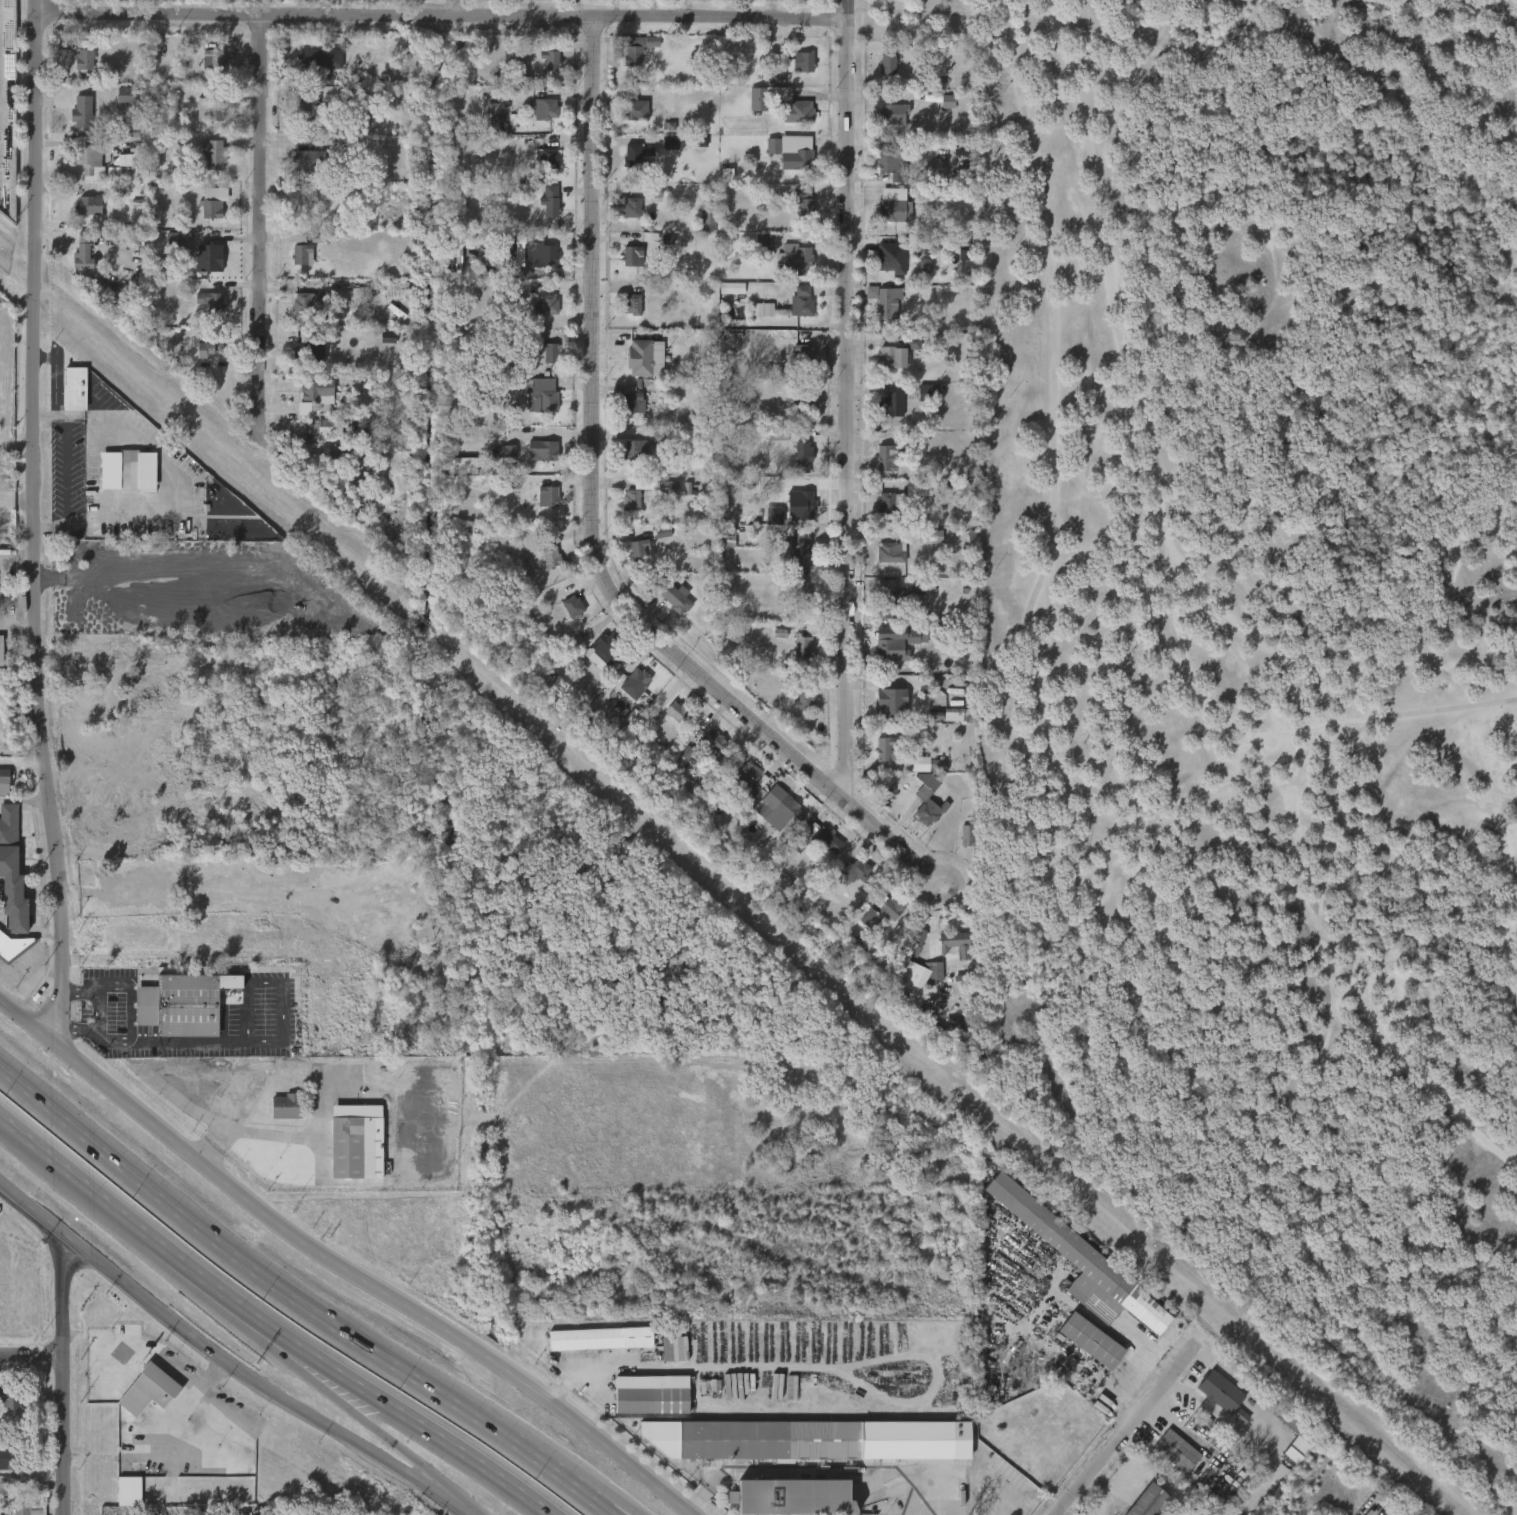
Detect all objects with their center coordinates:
road: (36, 6)
road: (317, 15)
road: (724, 19)
road: (914, 23)
building: (639, 49)
building: (550, 52)
building: (83, 55)
building: (213, 56)
building: (320, 58)
building: (630, 60)
building: (888, 60)
building: (795, 61)
building: (77, 71)
building: (312, 71)
building: (205, 72)
building: (543, 72)
building: (786, 74)
building: (879, 76)
building: (130, 95)
building: (305, 102)
building: (634, 106)
building: (797, 106)
building: (211, 107)
building: (543, 108)
building: (759, 108)
building: (81, 111)
building: (893, 113)
building: (940, 113)
building: (299, 118)
building: (627, 119)
building: (203, 121)
building: (538, 121)
building: (74, 123)
building: (789, 124)
building: (885, 125)
building: (213, 153)
building: (663, 154)
building: (791, 156)
building: (547, 157)
building: (638, 157)
building: (765, 158)
building: (89, 161)
building: (892, 162)
building: (312, 164)
building: (205, 166)
building: (628, 166)
building: (542, 168)
building: (119, 171)
building: (298, 171)
building: (83, 173)
building: (884, 176)
building: (550, 200)
building: (214, 202)
building: (804, 203)
building: (88, 205)
building: (632, 207)
building: (303, 209)
building: (895, 210)
building: (795, 211)
building: (543, 212)
building: (206, 214)
building: (81, 216)
building: (624, 219)
building: (708, 220)
road: (264, 226)
building: (699, 233)
building: (292, 249)
building: (82, 251)
building: (171, 251)
building: (301, 251)
building: (540, 252)
building: (755, 254)
building: (632, 256)
building: (206, 257)
building: (889, 257)
building: (795, 258)
building: (526, 264)
building: (75, 266)
building: (294, 266)
building: (621, 268)
building: (202, 269)
building: (787, 271)
building: (916, 278)
building: (396, 290)
building: (724, 299)
building: (304, 301)
building: (886, 301)
building: (213, 302)
building: (390, 302)
building: (802, 302)
building: (632, 304)
building: (546, 305)
building: (877, 312)
building: (204, 313)
building: (794, 313)
building: (625, 316)
building: (539, 317)
building: (754, 321)
building: (206, 345)
building: (307, 346)
building: (550, 352)
building: (899, 352)
building: (803, 355)
building: (640, 358)
building: (198, 361)
building: (301, 364)
building: (542, 364)
building: (795, 364)
building: (632, 369)
building: (884, 369)
road: (55, 376)
building: (74, 388)
building: (318, 389)
building: (539, 394)
road: (848, 396)
building: (632, 401)
building: (310, 402)
building: (920, 402)
road: (1051, 402)
building: (803, 403)
building: (891, 405)
road: (44, 414)
building: (625, 414)
building: (796, 416)
building: (883, 416)
road: (117, 424)
building: (325, 426)
building: (312, 438)
road: (15, 439)
building: (770, 446)
building: (639, 449)
building: (543, 450)
road: (597, 456)
building: (803, 457)
building: (888, 459)
building: (628, 461)
building: (500, 462)
building: (535, 462)
building: (795, 469)
building: (879, 469)
building: (128, 471)
building: (122, 481)
road: (65, 482)
building: (505, 496)
building: (548, 496)
building: (631, 500)
building: (912, 500)
building: (800, 501)
building: (890, 504)
building: (540, 507)
road: (15, 511)
building: (624, 511)
building: (792, 514)
building: (879, 514)
road: (31, 527)
building: (391, 531)
building: (727, 537)
building: (655, 543)
building: (905, 545)
building: (800, 547)
building: (640, 549)
building: (719, 549)
building: (87, 550)
road: (16, 555)
building: (551, 557)
building: (896, 557)
building: (630, 560)
building: (791, 560)
building: (77, 563)
building: (544, 569)
building: (164, 571)
building: (100, 587)
road: (1, 592)
building: (801, 595)
building: (676, 596)
building: (909, 599)
building: (793, 600)
building: (889, 601)
building: (573, 606)
building: (668, 610)
building: (565, 618)
road: (16, 628)
building: (772, 644)
building: (899, 644)
building: (603, 645)
building: (803, 647)
building: (1, 649)
park: (1267, 656)
building: (795, 658)
park: (1264, 659)
building: (594, 665)
building: (641, 678)
building: (546, 679)
building: (628, 694)
building: (804, 694)
building: (891, 698)
building: (796, 709)
building: (677, 710)
building: (884, 715)
building: (669, 723)
building: (948, 726)
building: (714, 740)
building: (883, 748)
building: (706, 752)
building: (877, 760)
building: (912, 774)
building: (4, 776)
building: (749, 778)
road: (1230, 788)
building: (742, 790)
building: (0, 793)
road: (25, 799)
building: (929, 802)
road: (1121, 802)
building: (790, 807)
building: (920, 814)
road: (1091, 819)
building: (771, 820)
road: (891, 838)
building: (829, 839)
building: (958, 847)
building: (816, 850)
building: (857, 870)
building: (10, 871)
building: (848, 881)
building: (78, 885)
railway: (728, 885)
building: (882, 910)
building: (955, 943)
building: (12, 948)
building: (945, 951)
building: (909, 954)
road: (30, 963)
road: (5, 974)
building: (907, 991)
building: (186, 1003)
road: (136, 1058)
building: (286, 1106)
building: (278, 1118)
road: (274, 1147)
building: (346, 1147)
road: (137, 1228)
building: (1078, 1260)
road: (246, 1266)
road: (338, 1267)
building: (601, 1339)
building: (1087, 1339)
building: (593, 1349)
building: (1083, 1351)
road: (31, 1356)
building: (664, 1359)
road: (224, 1361)
road: (310, 1368)
road: (62, 1376)
building: (154, 1386)
building: (1219, 1391)
building: (648, 1394)
building: (10, 1395)
building: (1212, 1402)
building: (4, 1410)
road: (414, 1422)
road: (366, 1423)
building: (1232, 1427)
building: (1295, 1429)
road: (1125, 1431)
building: (822, 1440)
building: (1175, 1449)
building: (13, 1457)
building: (1289, 1460)
building: (1169, 1462)
road: (411, 1465)
road: (824, 1474)
road: (559, 1477)
road: (699, 1496)
building: (793, 1498)
building: (121, 1501)
building: (1144, 1501)
building: (724, 1508)
road: (608, 1514)

